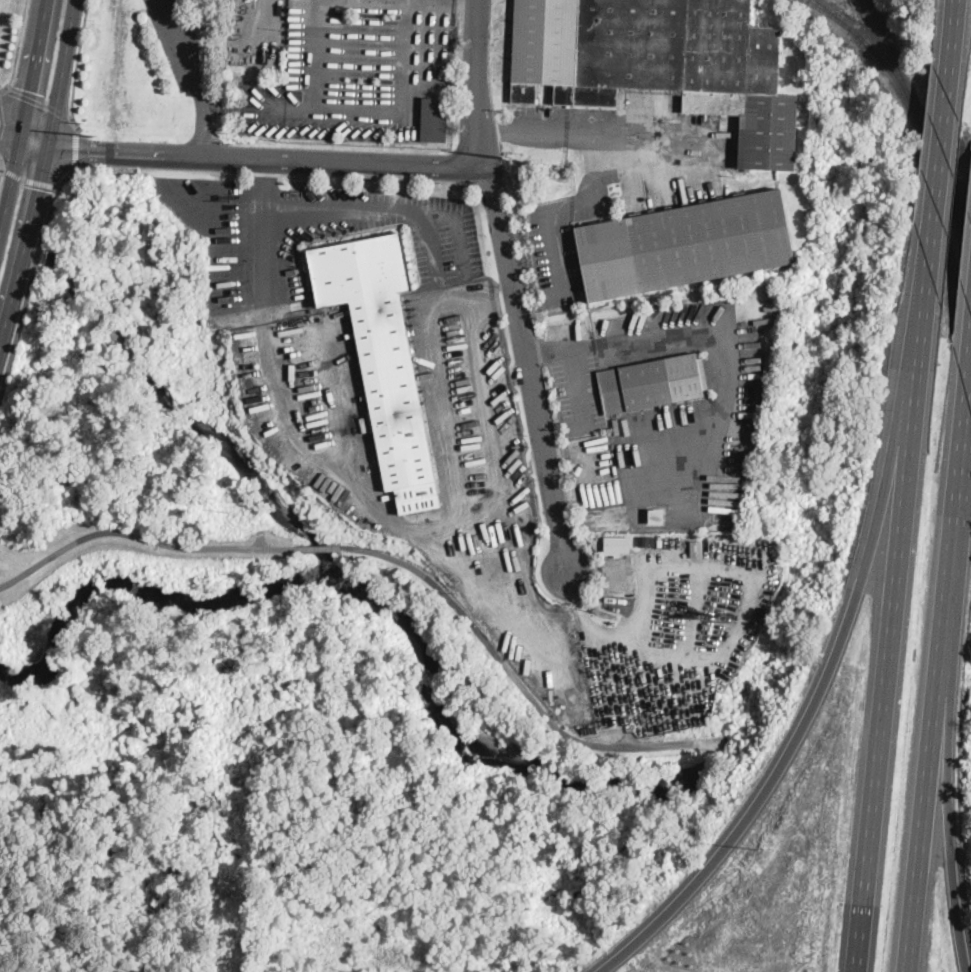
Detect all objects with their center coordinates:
railway: (827, 14)
road: (954, 24)
road: (17, 47)
road: (312, 55)
railway: (881, 58)
building: (661, 63)
road: (76, 65)
road: (64, 73)
road: (195, 76)
road: (475, 82)
traffic signals: (32, 93)
road: (40, 102)
road: (362, 112)
road: (1, 120)
road: (27, 120)
building: (435, 120)
railway: (923, 127)
road: (561, 132)
power tower: (97, 134)
road: (24, 137)
road: (76, 146)
power tower: (506, 153)
traffic signals: (89, 154)
road: (941, 154)
road: (268, 158)
road: (1, 168)
road: (3, 170)
road: (66, 175)
road: (32, 180)
traffic signals: (41, 189)
road: (217, 194)
road: (377, 207)
road: (263, 230)
road: (458, 230)
building: (685, 245)
road: (26, 249)
road: (27, 291)
building: (379, 340)
road: (559, 347)
road: (722, 352)
road: (527, 364)
building: (653, 383)
road: (442, 400)
road: (339, 404)
building: (419, 498)
building: (656, 516)
road: (444, 525)
road: (141, 537)
building: (618, 541)
building: (647, 541)
building: (697, 547)
road: (319, 548)
road: (893, 615)
road: (596, 619)
road: (939, 670)
road: (533, 699)
road: (813, 704)
road: (949, 810)

